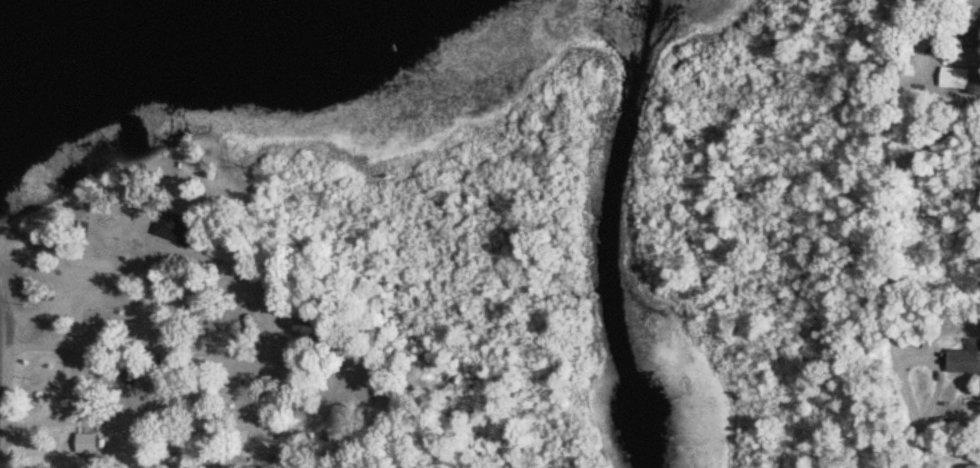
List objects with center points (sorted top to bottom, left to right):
building: (961, 79)
road: (888, 104)
park: (177, 199)
building: (184, 229)
river: (609, 230)
road: (202, 268)
road: (890, 315)
building: (966, 358)
road: (63, 365)
road: (223, 420)
building: (87, 444)
building: (970, 466)

